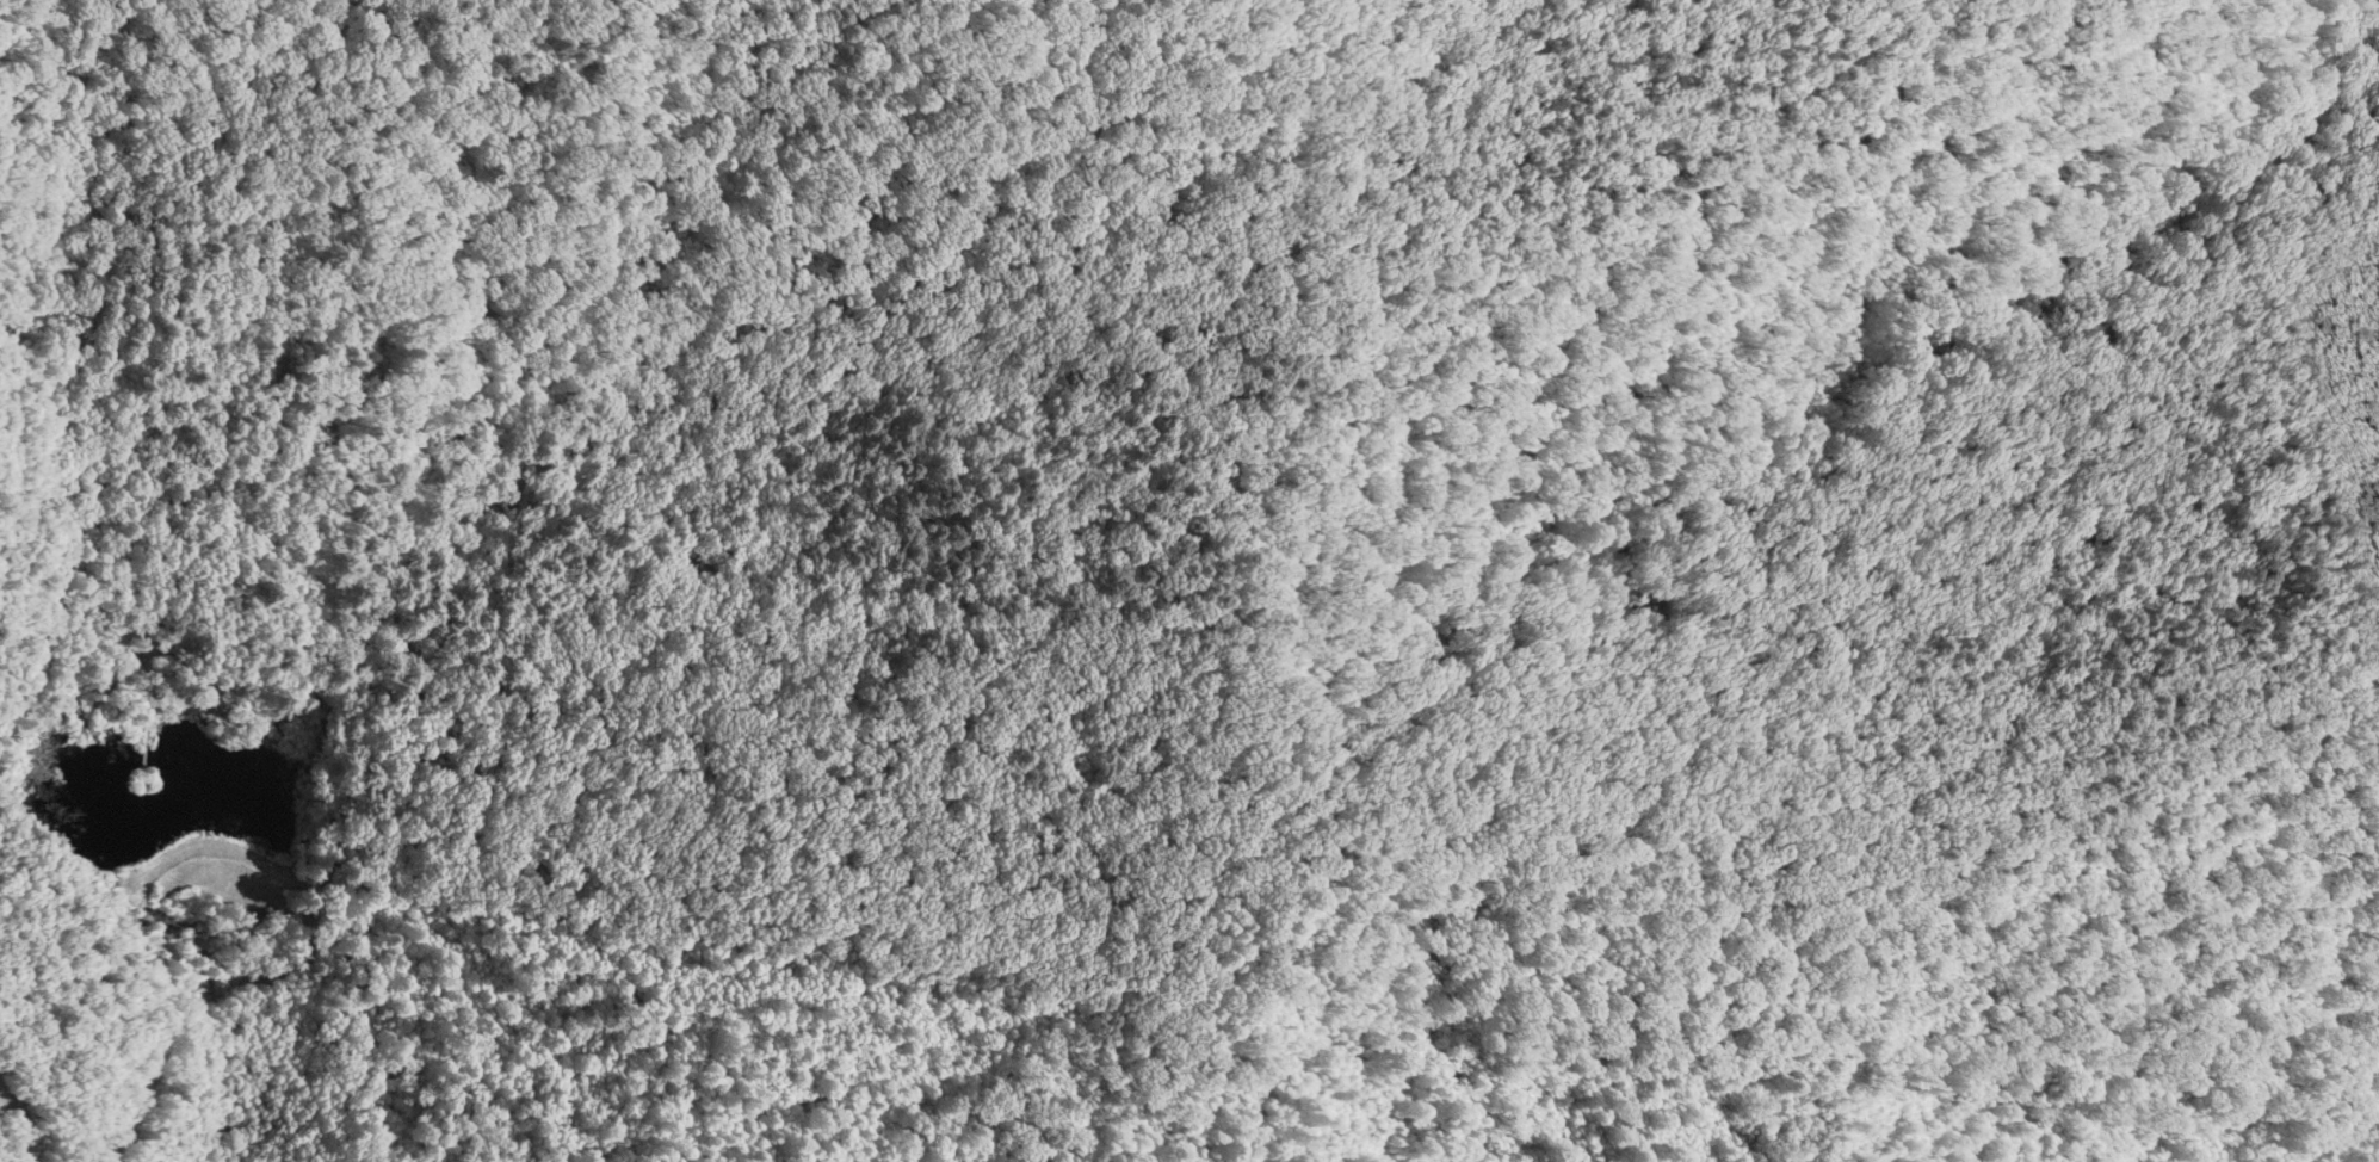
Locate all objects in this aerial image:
park: (1388, 639)

